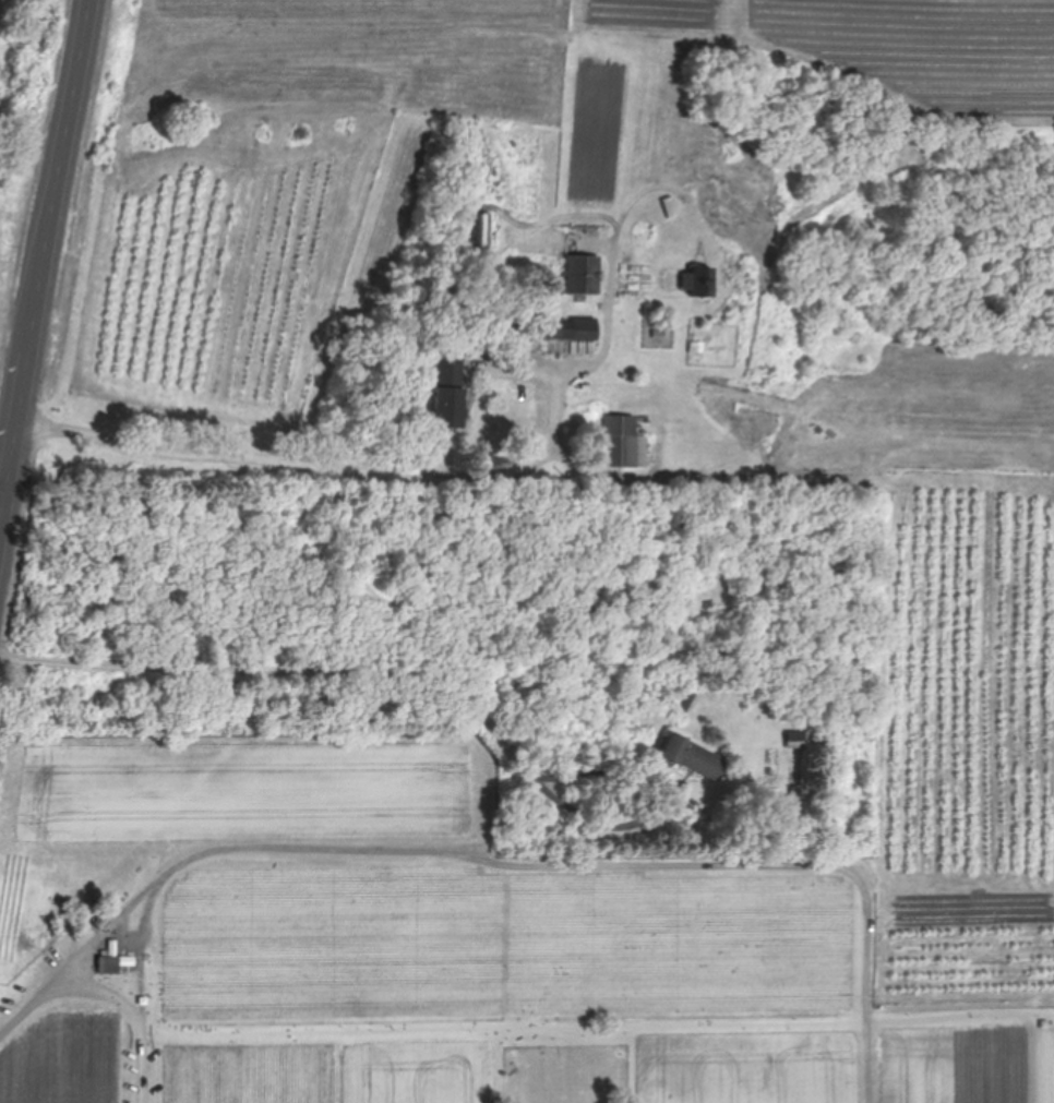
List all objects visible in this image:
building: (480, 231)
road: (47, 271)
building: (584, 274)
building: (707, 280)
building: (550, 328)
building: (450, 387)
building: (625, 443)
road: (328, 465)
road: (607, 476)
road: (3, 495)
road: (310, 671)
building: (798, 740)
building: (696, 757)
road: (311, 847)
road: (89, 952)
building: (110, 963)

